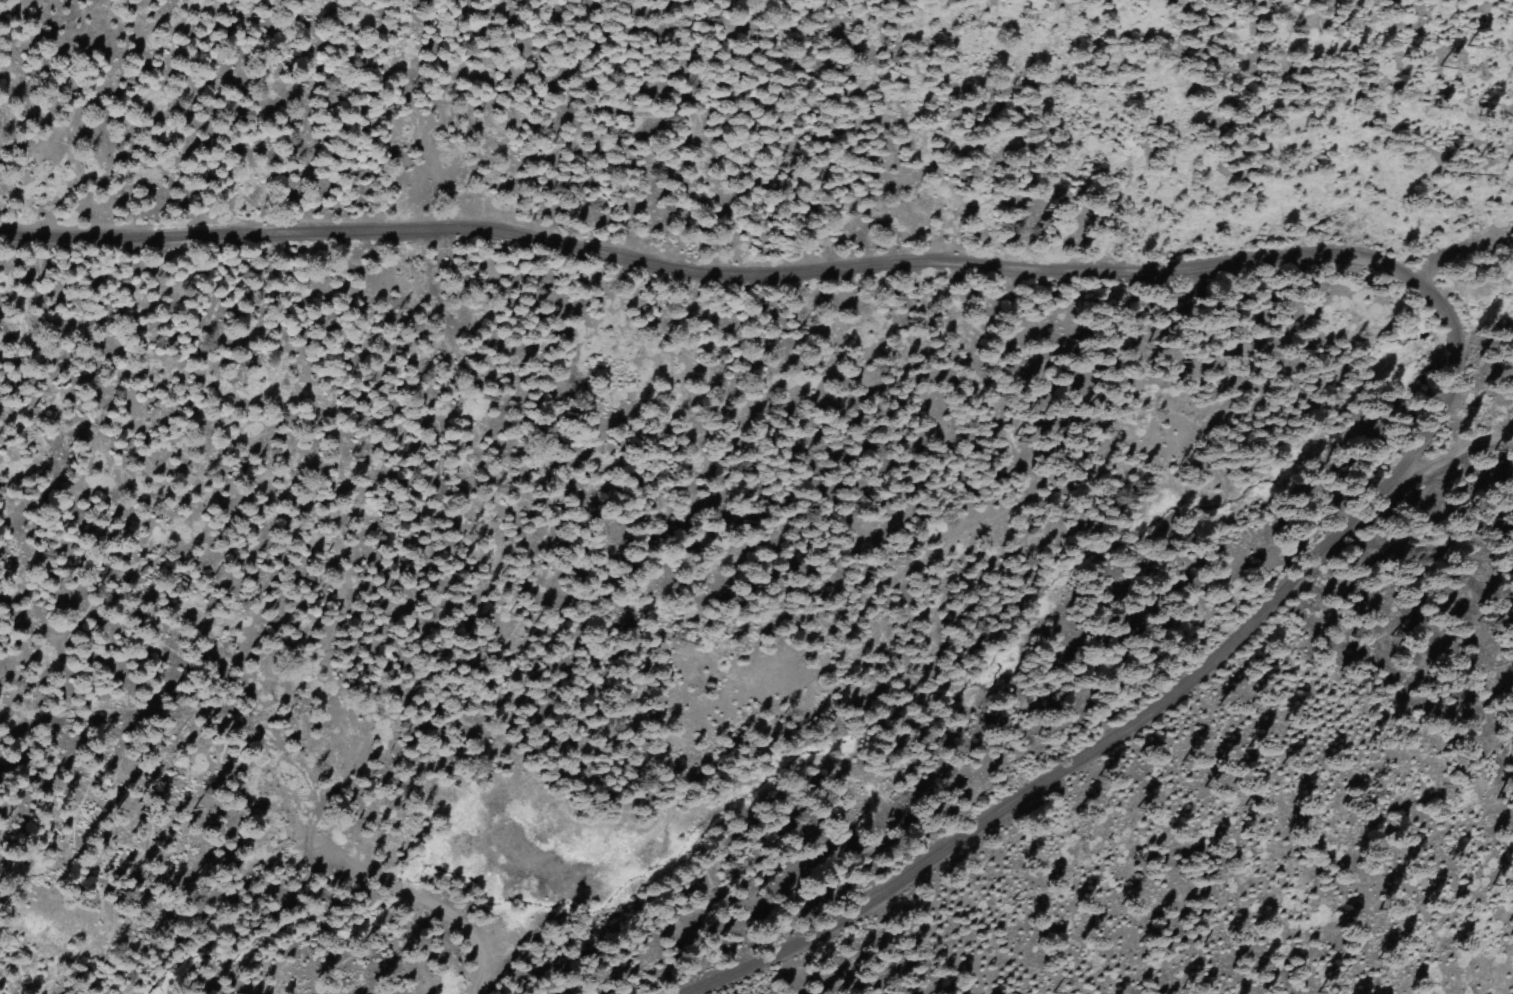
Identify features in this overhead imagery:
road: (1455, 244)
road: (1261, 257)
road: (1459, 448)
road: (406, 880)

